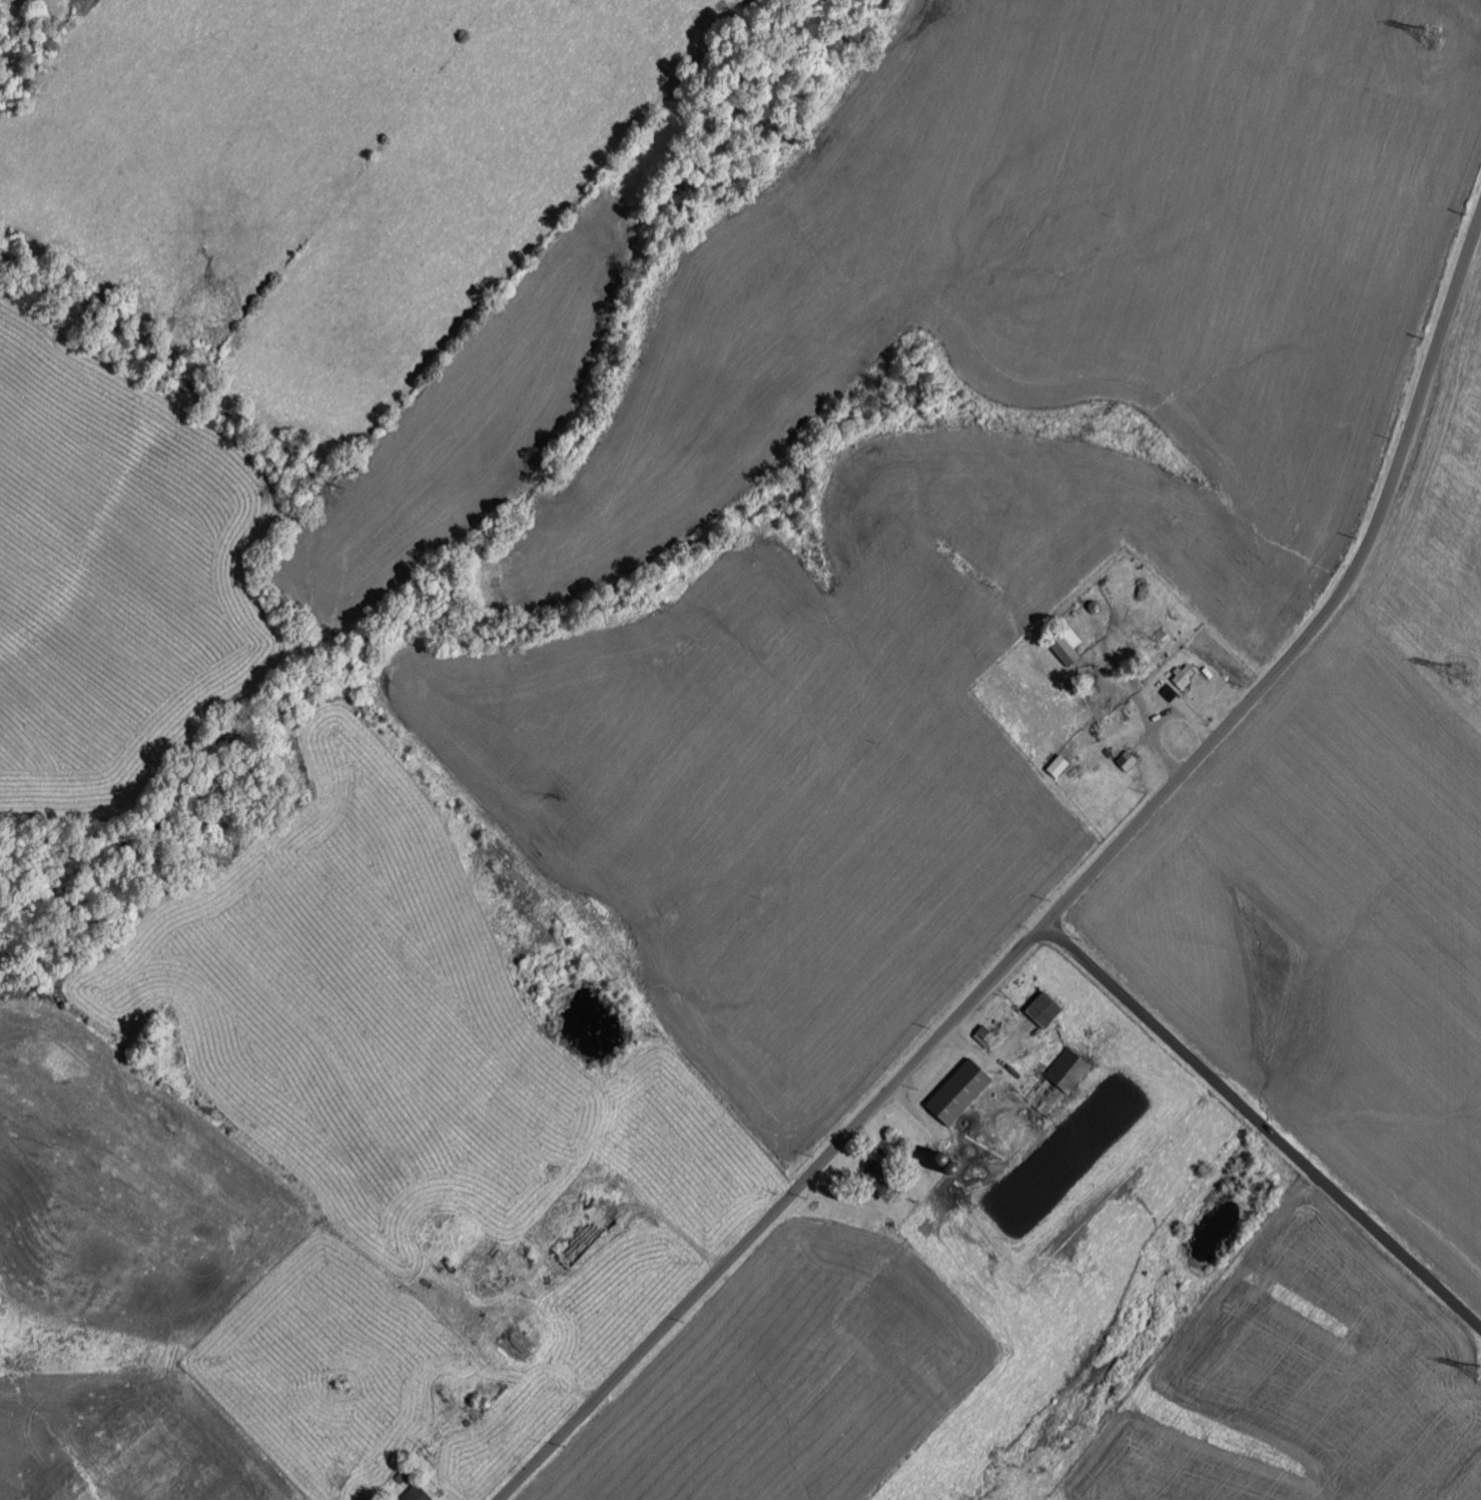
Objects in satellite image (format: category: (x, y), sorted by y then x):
building: (1185, 676)
building: (1128, 760)
building: (1060, 766)
road: (1064, 904)
building: (1047, 1009)
building: (999, 1024)
building: (1070, 1070)
building: (962, 1091)
road: (1262, 1128)
building: (885, 1176)
building: (420, 1494)

